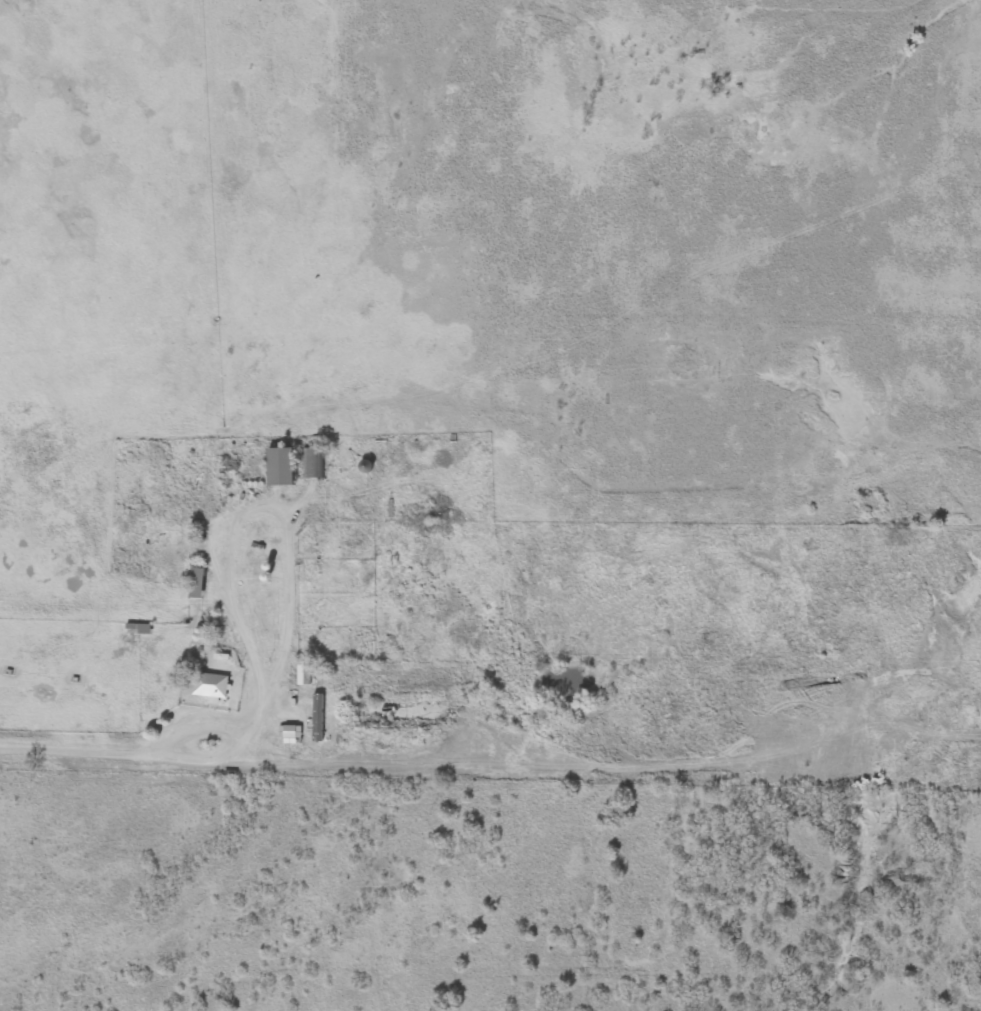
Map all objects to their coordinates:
building: (312, 462)
building: (362, 465)
building: (277, 466)
building: (194, 582)
building: (136, 628)
building: (302, 672)
building: (208, 684)

